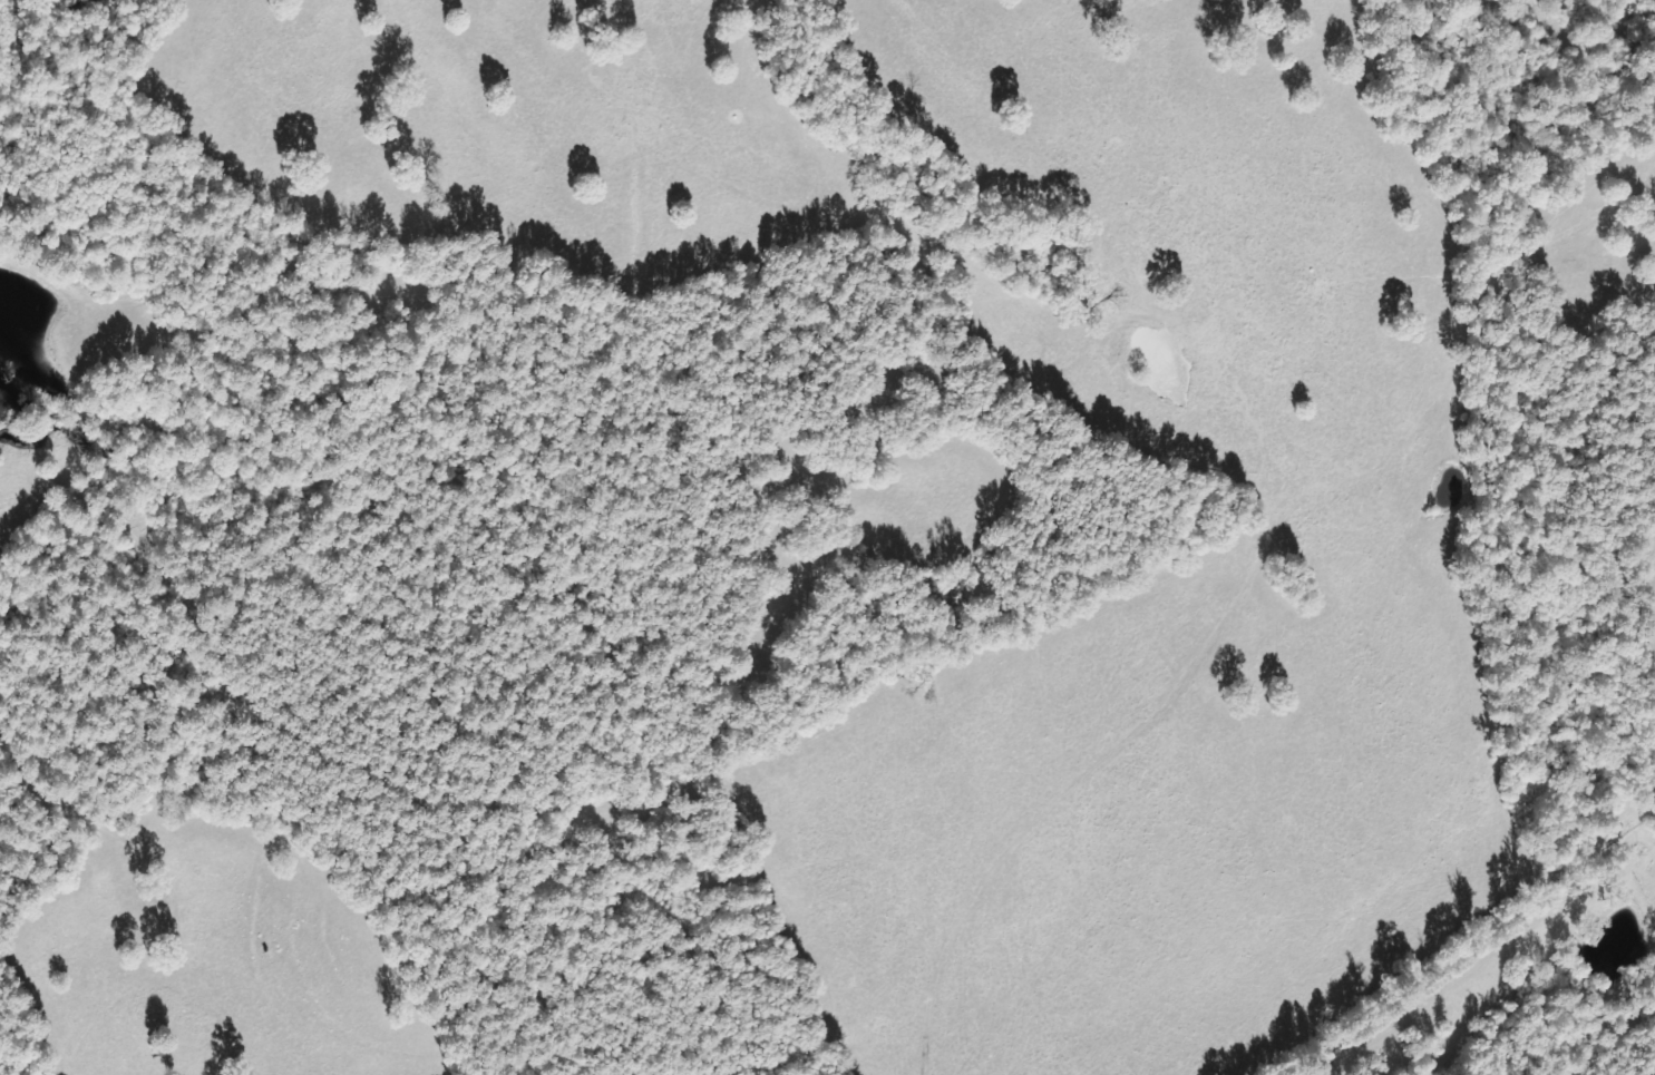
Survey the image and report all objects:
road: (1508, 979)

